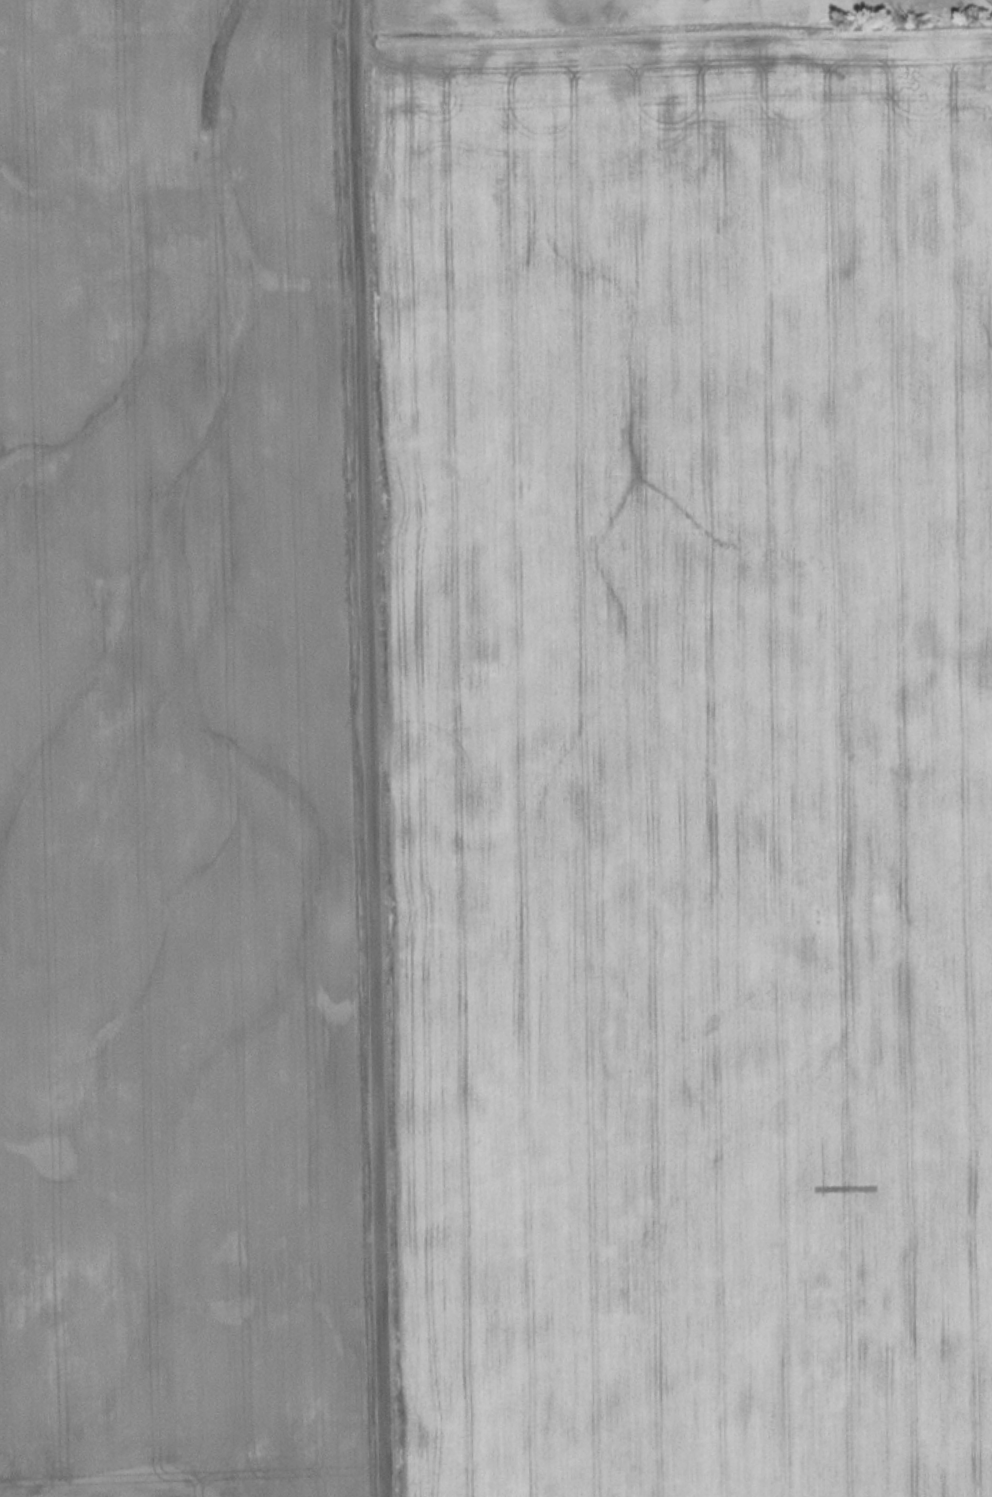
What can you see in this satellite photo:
road: (177, 44)
road: (366, 748)

